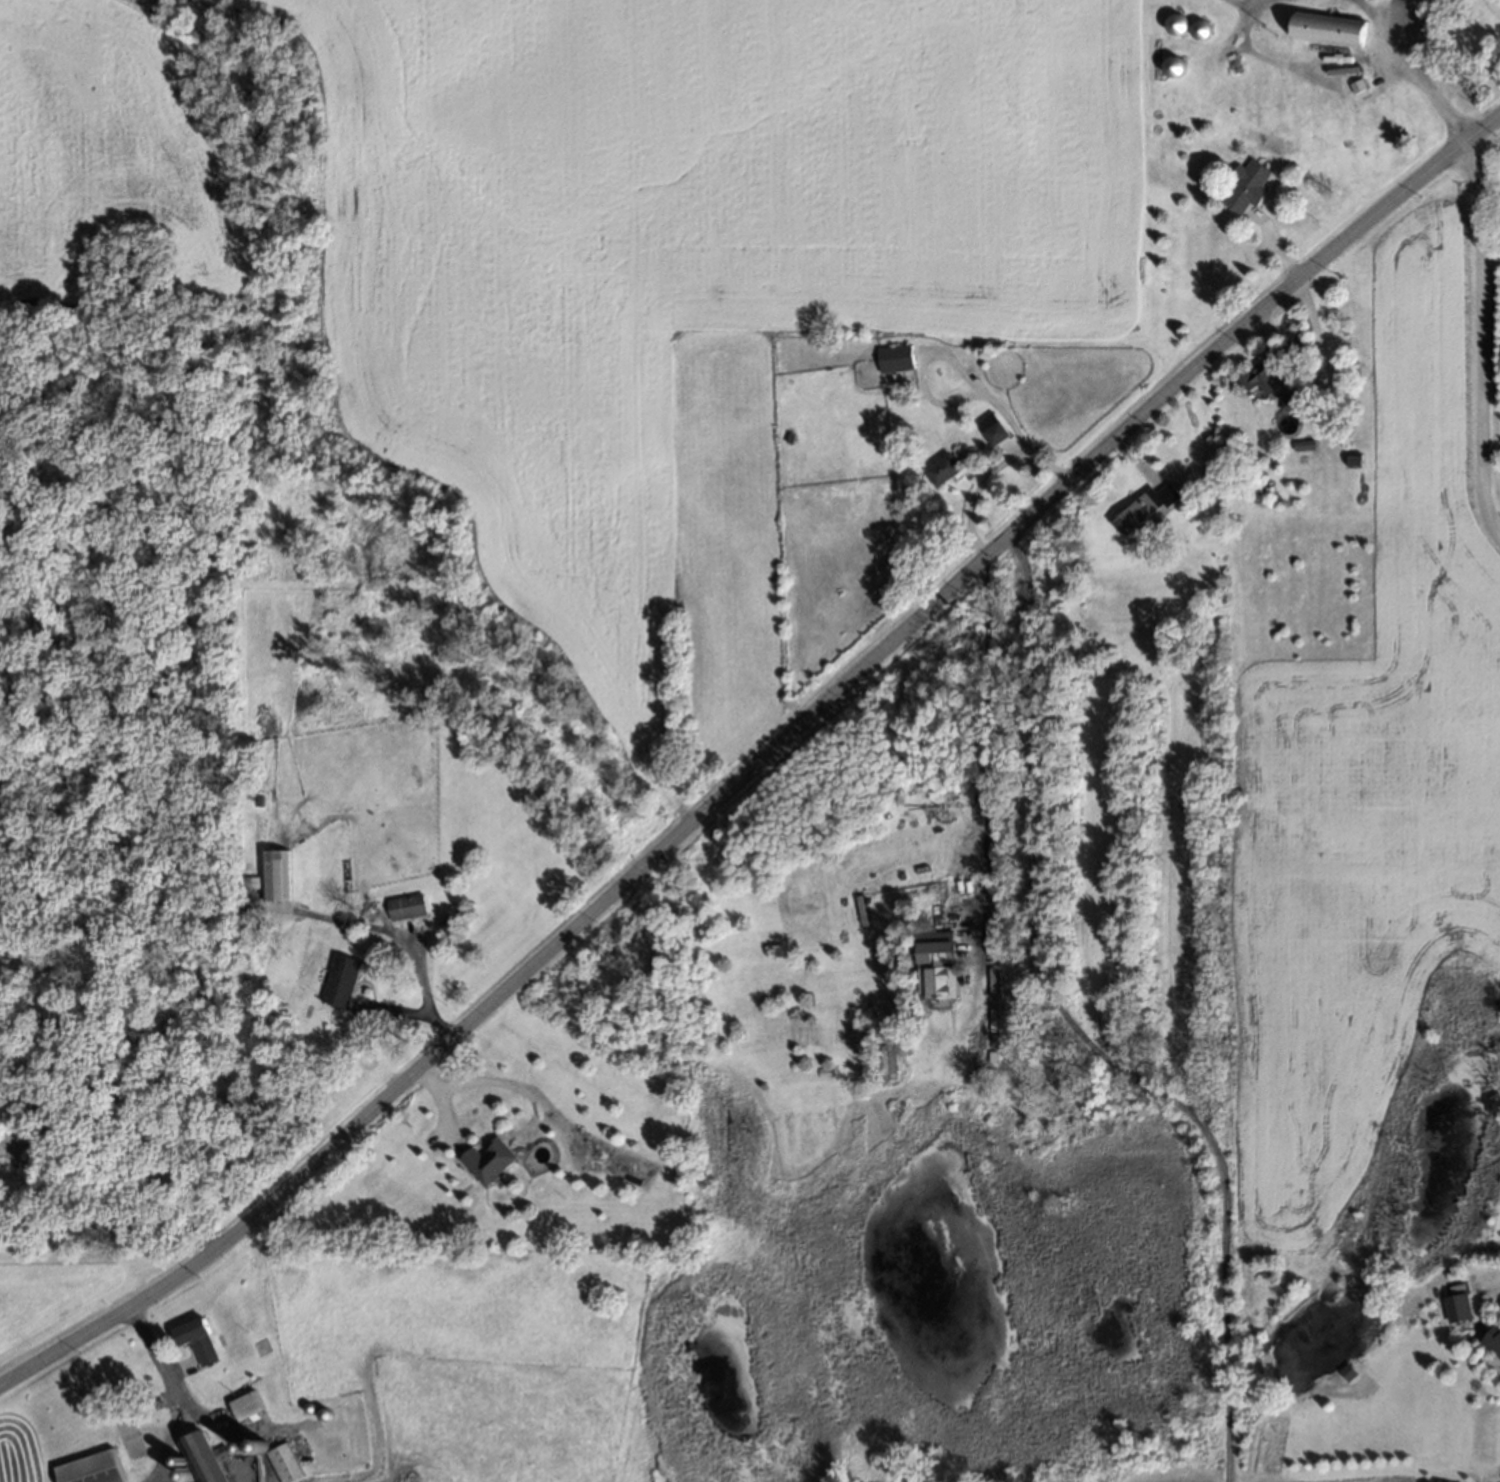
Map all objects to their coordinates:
building: (1431, 6)
building: (1174, 22)
building: (1198, 27)
building: (1330, 27)
building: (1468, 44)
building: (1172, 64)
road: (1422, 80)
building: (1356, 83)
building: (1248, 184)
building: (1497, 249)
road: (1478, 340)
building: (893, 358)
building: (1261, 378)
building: (1287, 399)
building: (990, 428)
building: (790, 439)
building: (1303, 441)
building: (1033, 443)
building: (1350, 456)
building: (1214, 465)
building: (940, 466)
road: (987, 474)
building: (1143, 506)
road: (983, 736)
road: (757, 760)
building: (255, 797)
building: (275, 877)
building: (409, 907)
road: (408, 946)
building: (937, 966)
building: (343, 981)
road: (1077, 1031)
building: (990, 1059)
road: (498, 1080)
building: (46, 1101)
road: (440, 1116)
building: (58, 1145)
building: (486, 1162)
building: (1456, 1306)
building: (195, 1335)
building: (1492, 1339)
road: (155, 1347)
building: (1345, 1369)
building: (153, 1398)
building: (248, 1404)
building: (307, 1406)
building: (293, 1435)
building: (271, 1439)
building: (259, 1443)
building: (243, 1445)
building: (296, 1446)
building: (204, 1456)
building: (303, 1456)
building: (286, 1463)
building: (91, 1468)

